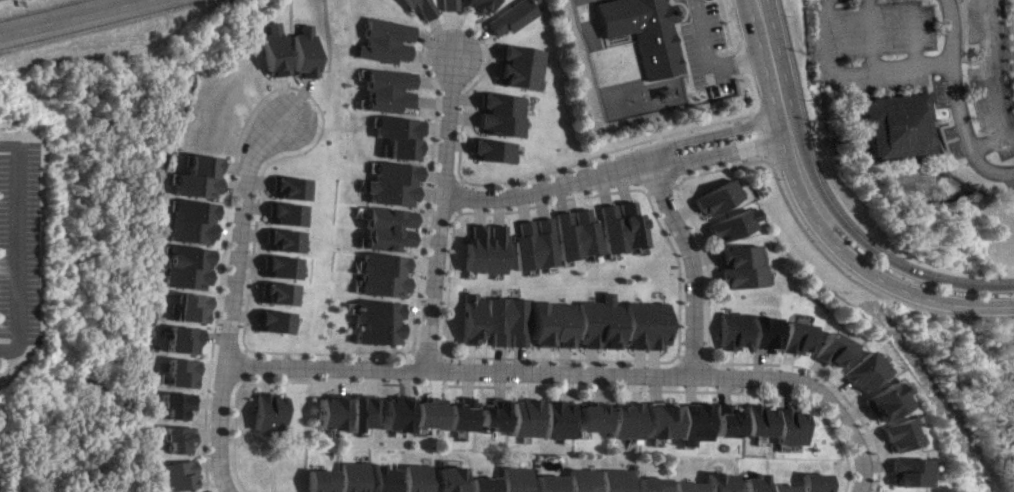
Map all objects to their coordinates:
road: (24, 3)
building: (445, 5)
building: (476, 6)
building: (417, 7)
building: (511, 15)
road: (66, 16)
building: (643, 32)
road: (705, 34)
building: (380, 40)
building: (270, 49)
building: (301, 51)
road: (742, 62)
building: (516, 67)
road: (847, 69)
building: (381, 89)
road: (779, 100)
road: (946, 107)
building: (497, 114)
building: (892, 123)
road: (715, 133)
building: (394, 136)
building: (489, 150)
road: (720, 152)
building: (191, 177)
building: (386, 184)
building: (284, 187)
road: (543, 188)
building: (713, 197)
road: (432, 211)
building: (279, 213)
building: (185, 221)
building: (727, 225)
building: (617, 226)
building: (380, 229)
road: (234, 232)
building: (573, 233)
building: (277, 240)
road: (11, 242)
building: (530, 243)
building: (478, 249)
road: (687, 265)
building: (274, 266)
building: (738, 266)
building: (180, 267)
road: (902, 268)
building: (376, 275)
road: (892, 286)
building: (272, 293)
building: (187, 307)
building: (468, 318)
building: (269, 321)
building: (504, 321)
building: (372, 322)
building: (550, 323)
building: (595, 324)
building: (641, 324)
building: (726, 330)
building: (758, 333)
building: (793, 337)
building: (179, 339)
building: (829, 349)
building: (860, 371)
building: (178, 372)
road: (511, 373)
building: (879, 401)
building: (174, 404)
building: (264, 411)
building: (358, 411)
building: (327, 413)
building: (392, 414)
building: (425, 414)
building: (458, 414)
building: (492, 414)
building: (589, 416)
building: (523, 417)
building: (556, 419)
building: (621, 420)
building: (752, 420)
building: (654, 421)
building: (718, 421)
building: (686, 422)
building: (785, 427)
building: (894, 434)
building: (175, 438)
building: (904, 471)
building: (174, 475)
building: (351, 476)
building: (416, 477)
building: (382, 478)
building: (449, 479)
building: (514, 479)
building: (580, 479)
building: (318, 480)
building: (612, 480)
building: (710, 482)
building: (809, 482)
building: (547, 483)
building: (745, 483)
building: (481, 484)
building: (645, 484)
building: (678, 486)
building: (776, 487)

